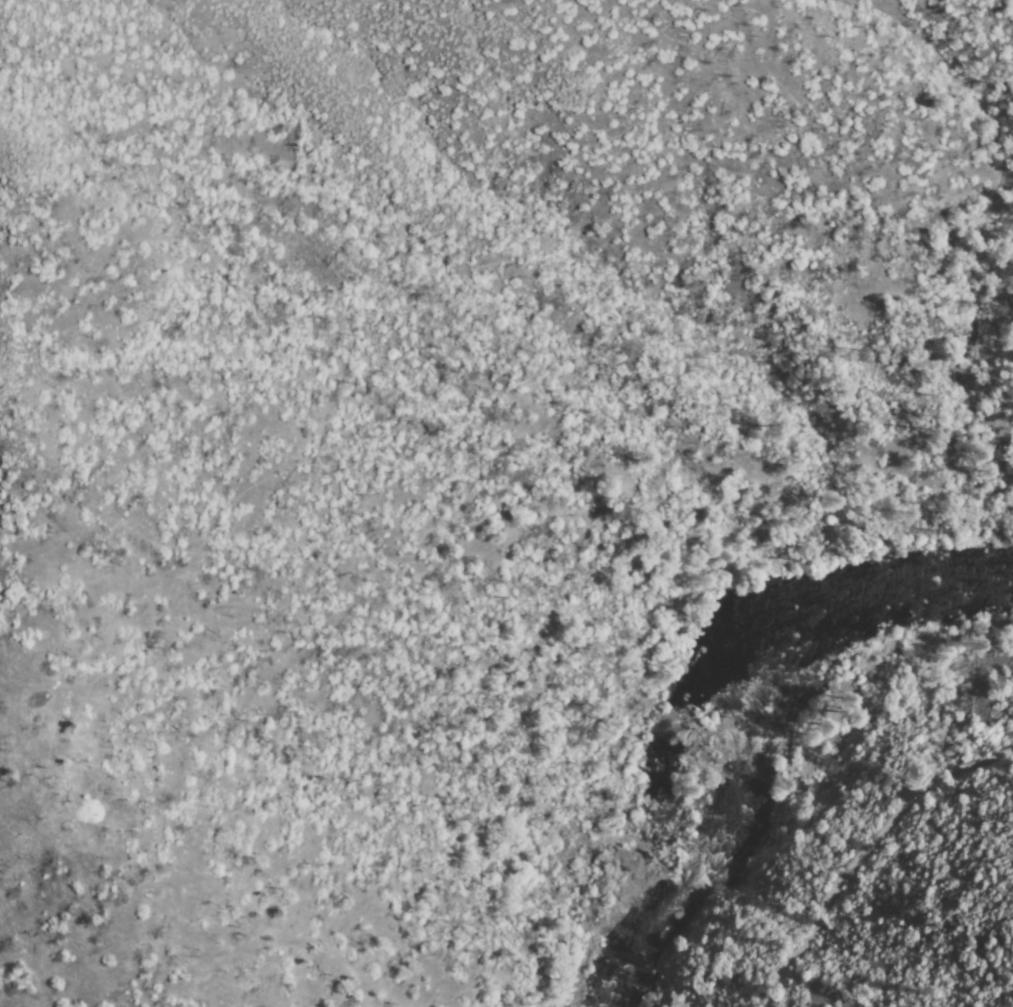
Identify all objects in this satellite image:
river: (760, 737)
road: (868, 853)

